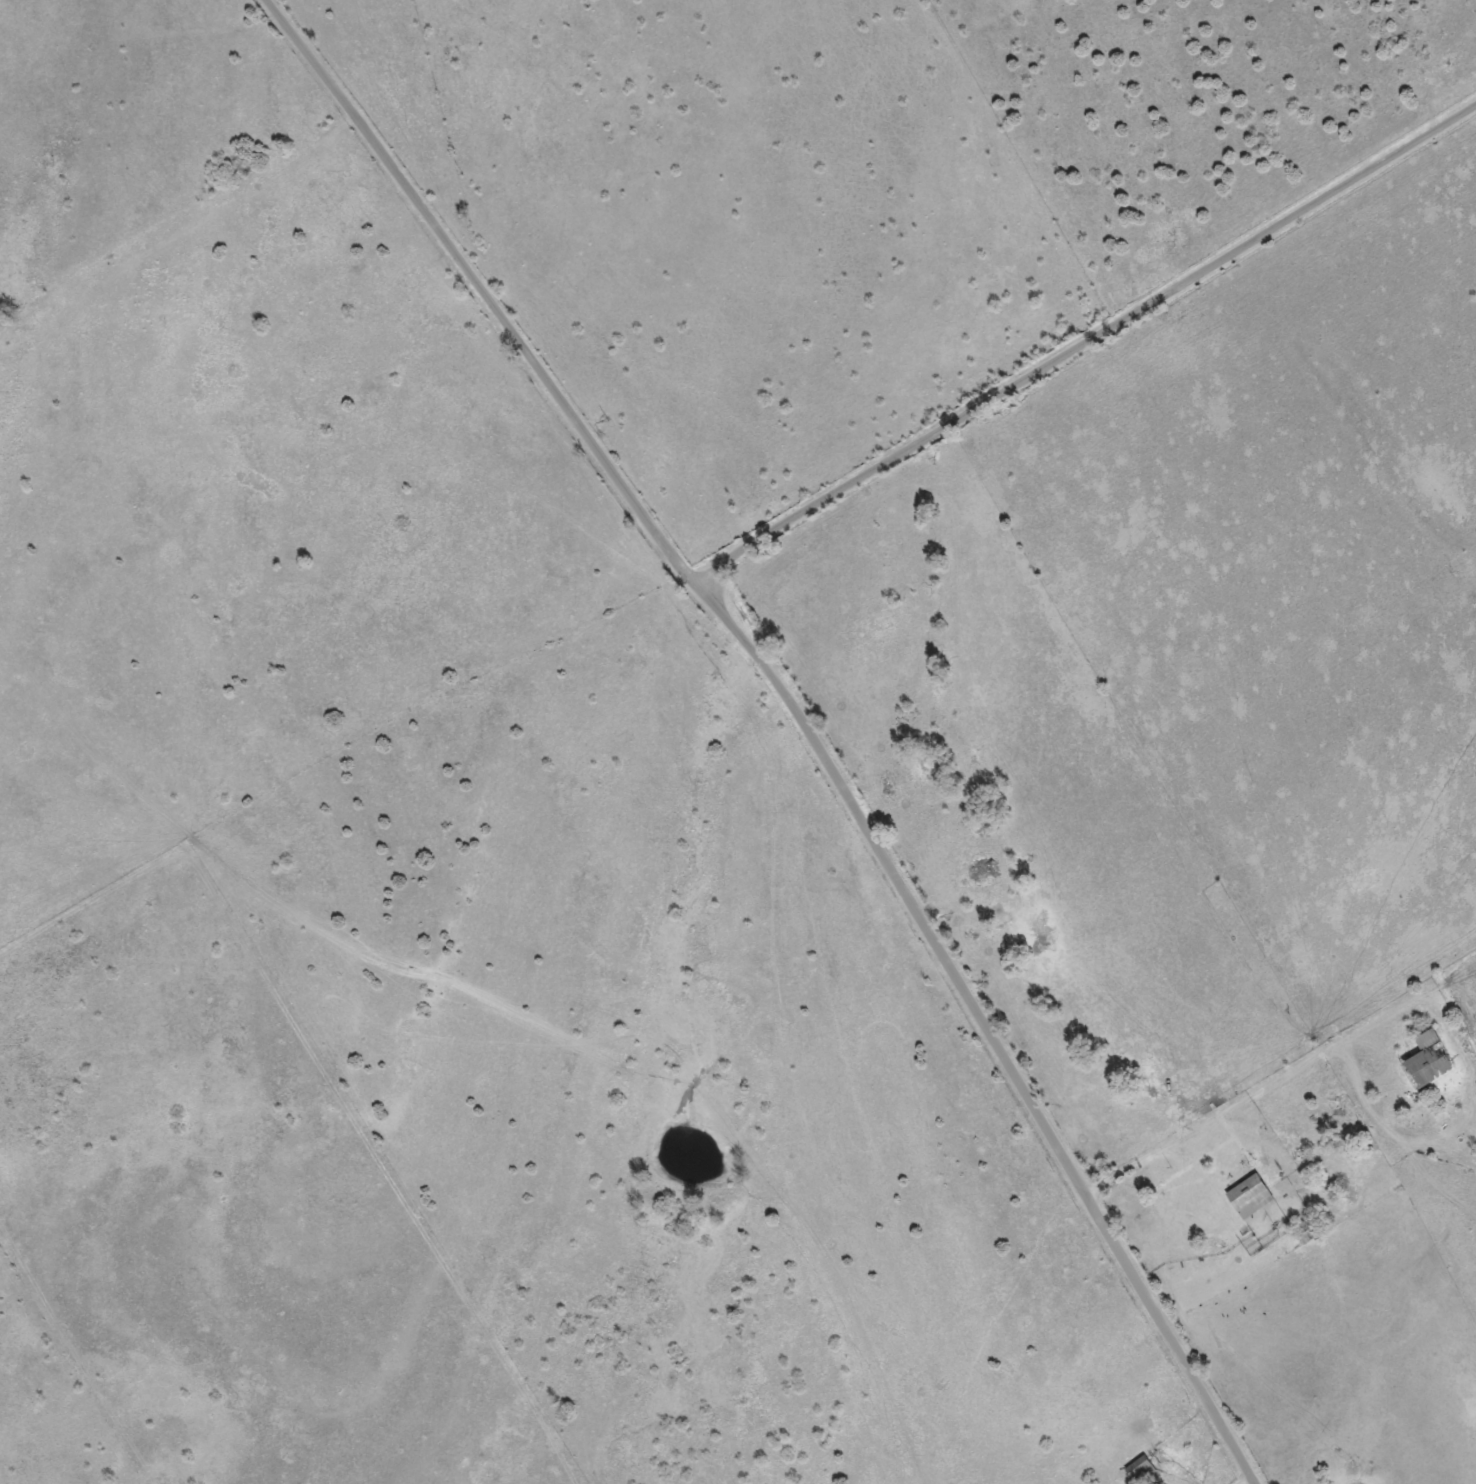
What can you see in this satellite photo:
road: (1087, 340)
road: (797, 715)
building: (1423, 1061)
building: (1245, 1196)
building: (1137, 1468)

